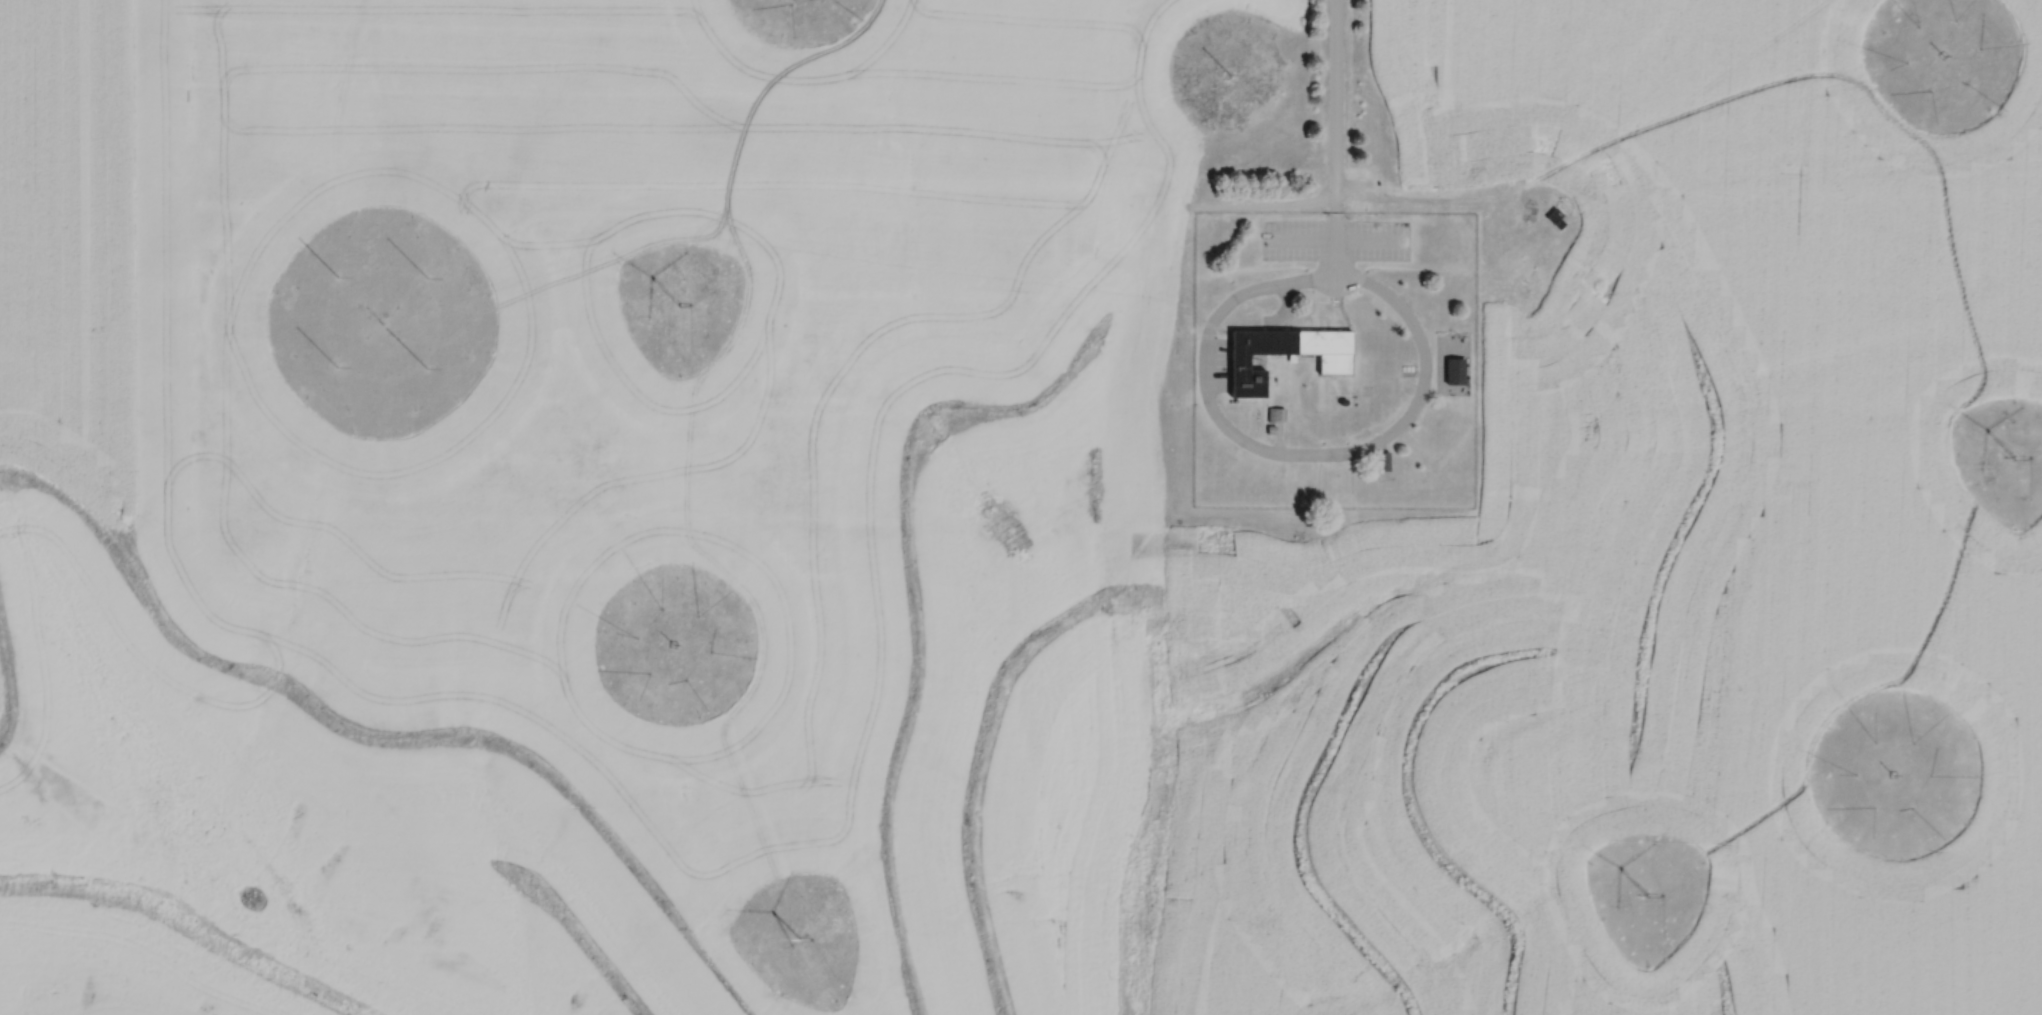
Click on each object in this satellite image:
road: (1335, 137)
building: (1557, 218)
road: (617, 250)
road: (741, 253)
building: (1335, 361)
building: (1276, 414)
road: (1290, 452)

